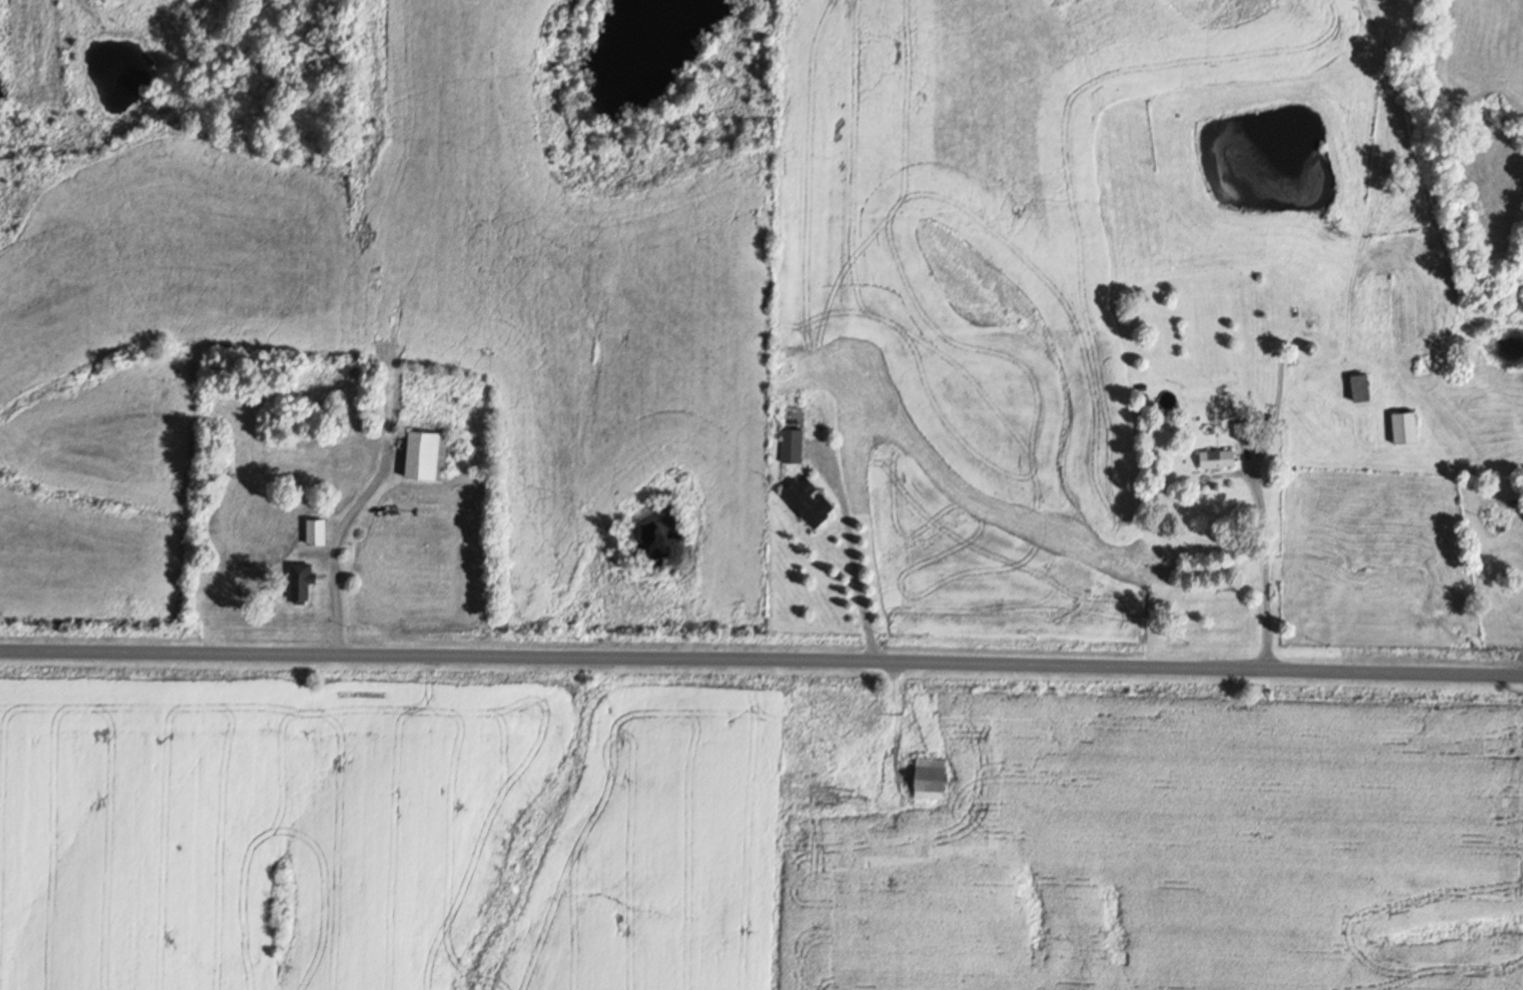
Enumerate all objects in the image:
building: (1356, 387)
building: (1401, 427)
building: (790, 445)
building: (422, 454)
building: (1214, 458)
building: (805, 501)
building: (313, 532)
road: (329, 547)
road: (847, 555)
road: (1261, 565)
building: (298, 583)
road: (761, 659)
building: (926, 777)

